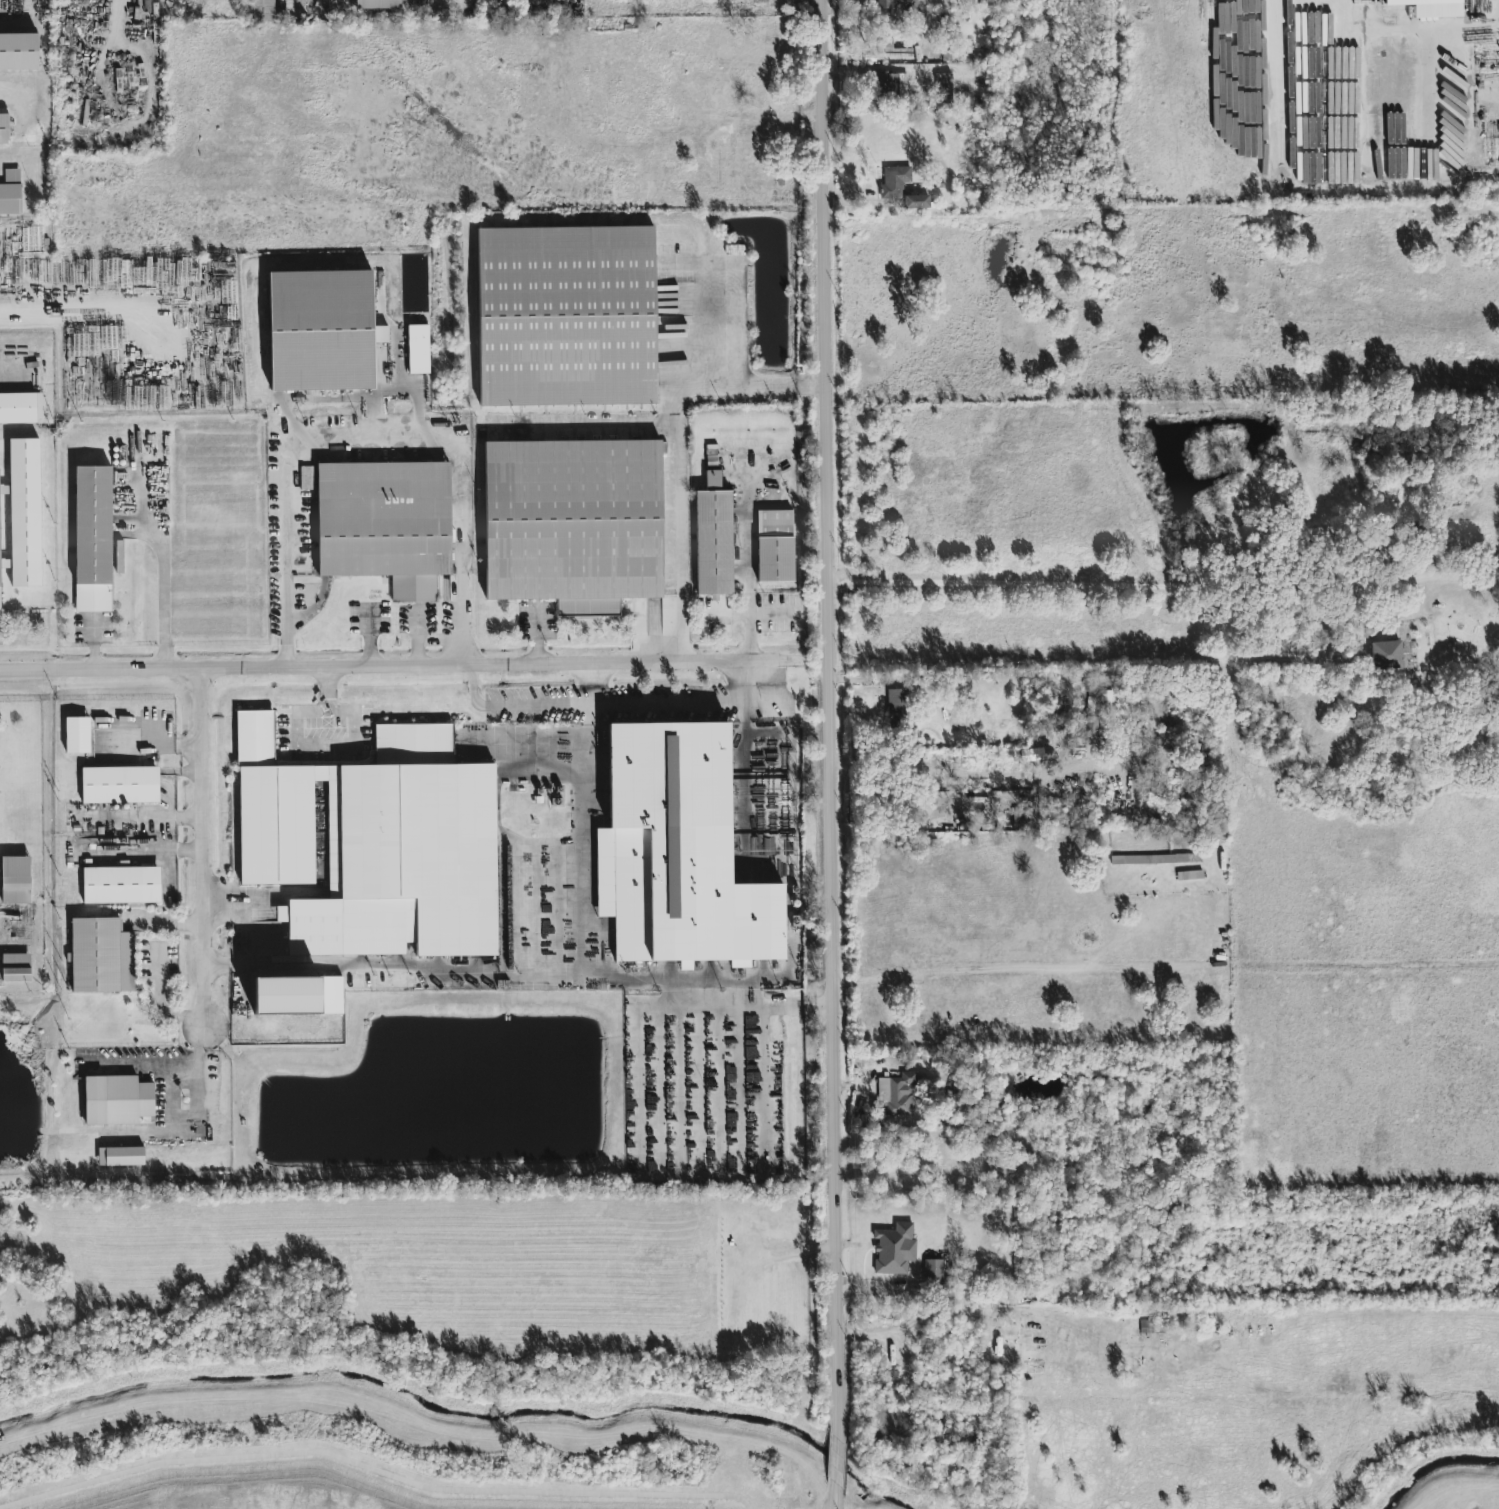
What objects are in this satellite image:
building: (378, 5)
building: (895, 5)
building: (1429, 8)
building: (260, 11)
building: (889, 51)
building: (18, 52)
building: (978, 60)
road: (1228, 70)
building: (943, 83)
building: (891, 86)
building: (4, 130)
road: (1416, 163)
building: (901, 189)
building: (10, 193)
road: (63, 315)
building: (562, 316)
building: (321, 331)
building: (417, 349)
road: (14, 383)
road: (756, 387)
building: (39, 405)
building: (17, 409)
road: (587, 429)
road: (375, 448)
road: (679, 458)
building: (4, 488)
building: (25, 513)
building: (740, 521)
building: (571, 524)
building: (383, 525)
building: (713, 538)
building: (93, 540)
building: (774, 560)
road: (162, 569)
road: (1164, 585)
building: (0, 591)
road: (729, 617)
road: (749, 619)
road: (537, 637)
building: (1385, 656)
road: (392, 668)
road: (896, 677)
road: (326, 683)
road: (610, 704)
building: (898, 706)
road: (831, 717)
building: (1091, 724)
building: (77, 736)
road: (322, 744)
building: (120, 785)
building: (380, 844)
road: (201, 848)
building: (685, 851)
building: (16, 880)
building: (121, 884)
building: (101, 957)
building: (16, 967)
road: (583, 969)
building: (297, 996)
road: (158, 999)
road: (147, 1062)
building: (898, 1094)
building: (116, 1101)
road: (200, 1120)
building: (120, 1157)
building: (894, 1249)
building: (933, 1272)
river: (485, 1409)
road: (838, 1459)
road: (374, 1469)
river: (1435, 1471)
park: (337, 1485)
park: (1453, 1488)
park: (890, 1494)
road: (835, 1497)
park: (256, 1500)

